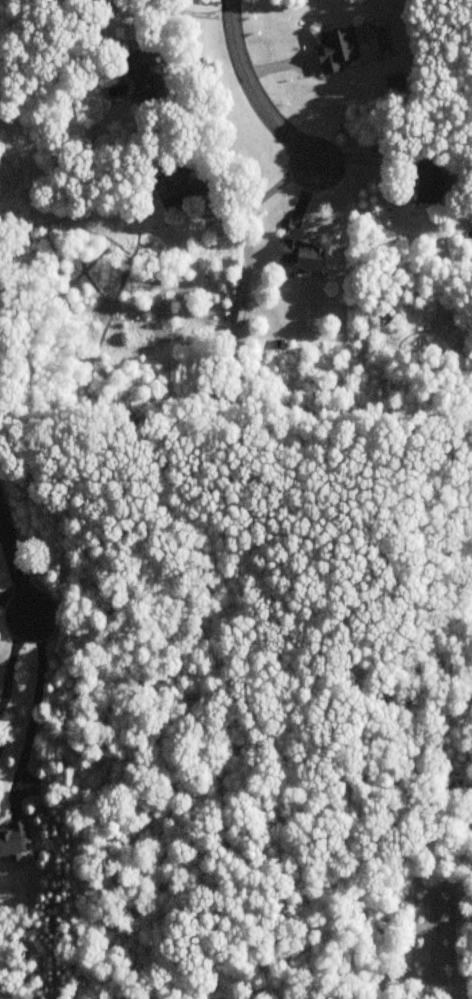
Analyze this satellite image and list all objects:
building: (101, 5)
building: (336, 48)
building: (148, 78)
road: (256, 94)
building: (430, 183)
building: (181, 186)
road: (266, 195)
building: (303, 256)
road: (16, 565)
road: (10, 665)
road: (33, 717)
building: (14, 840)

